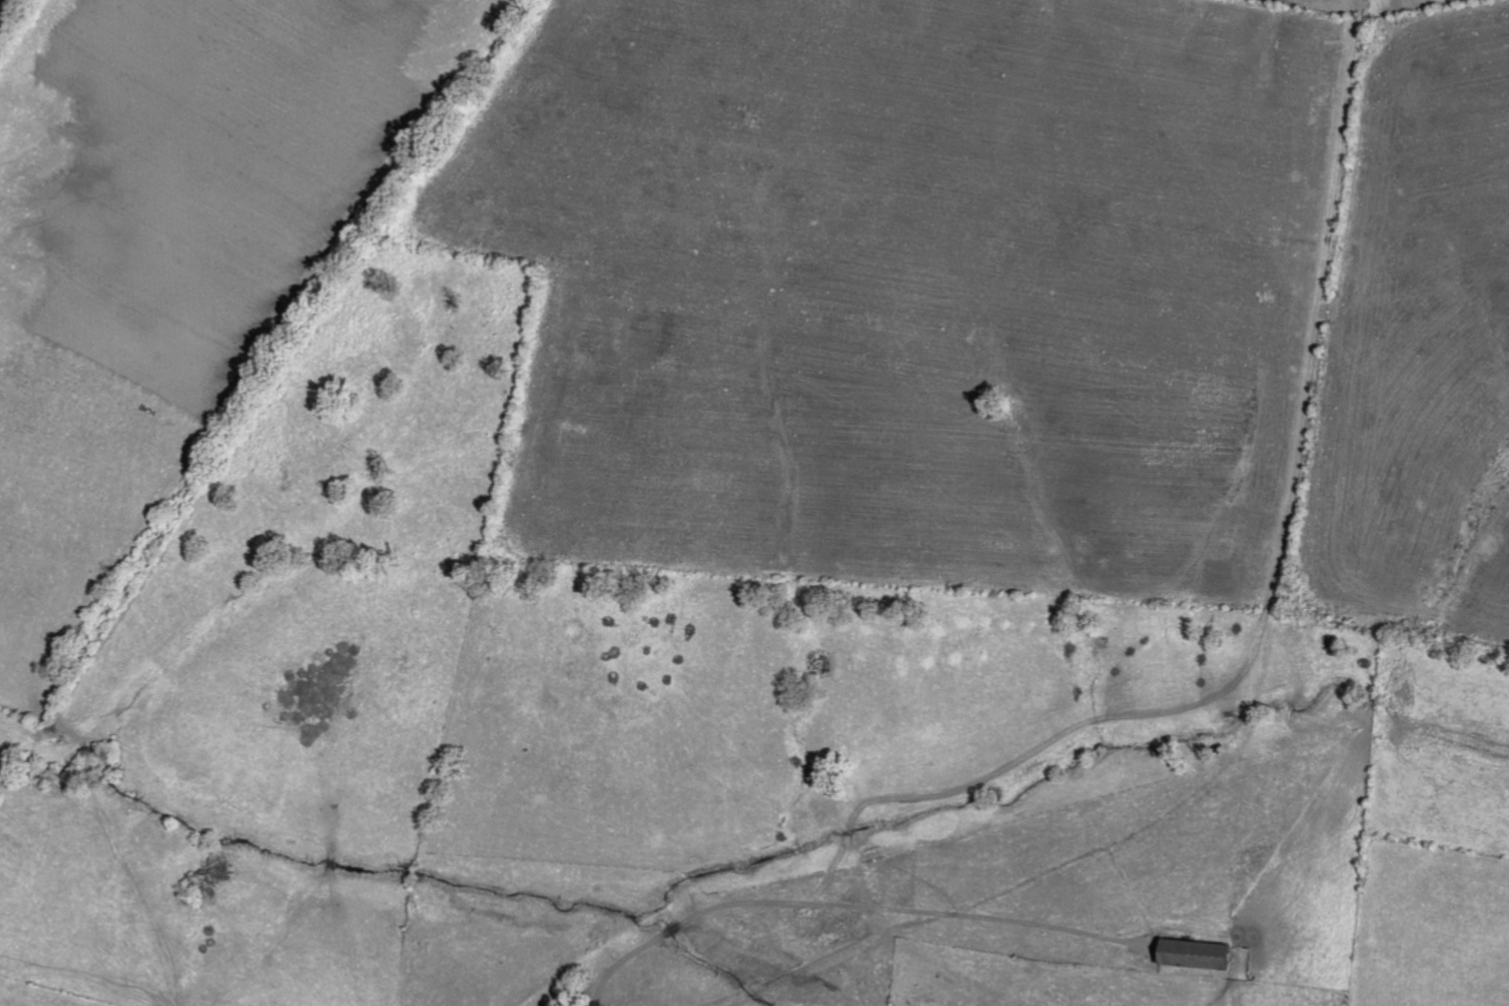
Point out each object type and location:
road: (847, 903)
building: (1197, 954)

